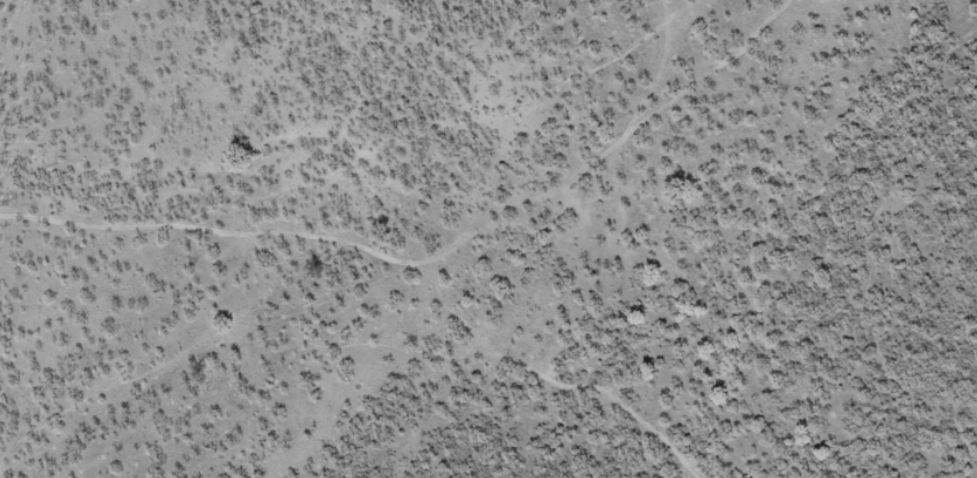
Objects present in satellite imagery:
road: (377, 269)

